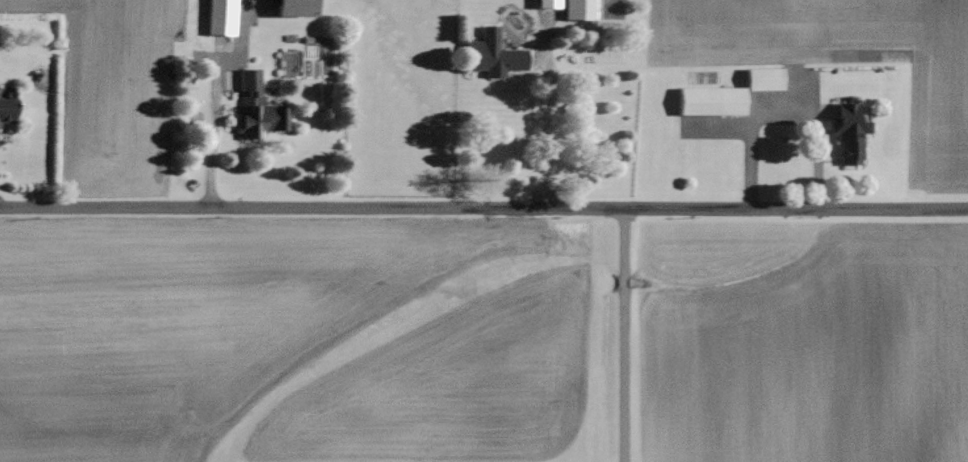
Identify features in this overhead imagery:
building: (551, 4)
building: (300, 8)
building: (582, 9)
building: (224, 17)
building: (496, 54)
building: (768, 77)
building: (714, 99)
building: (257, 107)
building: (9, 111)
road: (546, 115)
building: (851, 130)
road: (211, 135)
road: (484, 205)
road: (623, 334)

